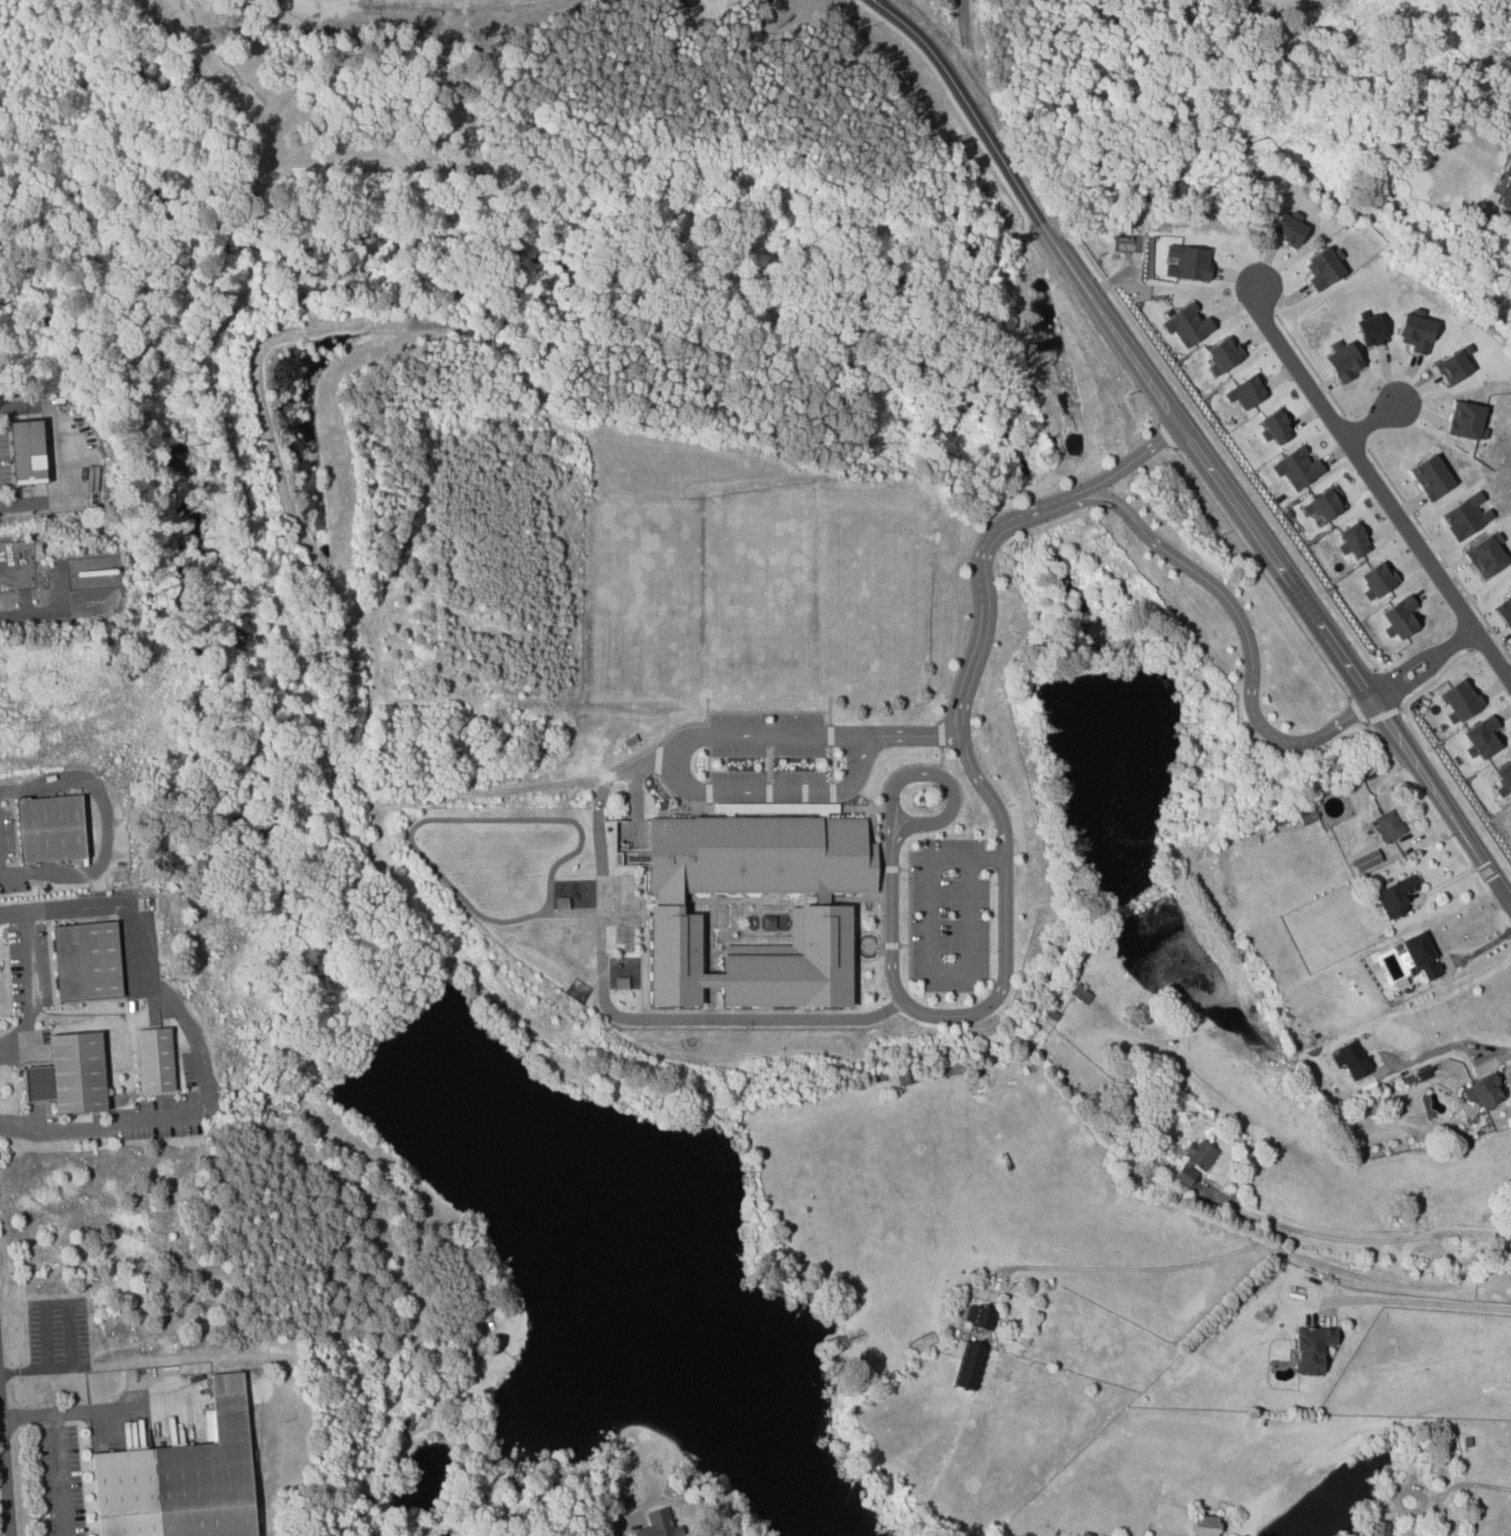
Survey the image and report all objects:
building: (1506, 193)
road: (1016, 204)
building: (1289, 227)
building: (1188, 262)
building: (1324, 267)
building: (1187, 324)
building: (1371, 330)
building: (1416, 331)
building: (1224, 354)
building: (1343, 360)
road: (1310, 363)
building: (1454, 364)
building: (1247, 391)
road: (1371, 419)
building: (1467, 420)
building: (1276, 426)
road: (1356, 428)
building: (17, 432)
road: (1166, 436)
building: (29, 450)
road: (1198, 450)
road: (1227, 452)
road: (64, 460)
road: (1127, 464)
building: (1297, 467)
building: (1431, 476)
road: (1377, 482)
building: (1325, 504)
building: (1466, 516)
road: (982, 528)
building: (1353, 540)
road: (1439, 550)
building: (1486, 555)
road: (1262, 572)
building: (1378, 579)
road: (982, 590)
building: (1510, 590)
road: (50, 609)
building: (1505, 611)
building: (1400, 617)
road: (1243, 629)
road: (1457, 633)
road: (1478, 638)
road: (1402, 665)
road: (1436, 678)
road: (1413, 679)
road: (1389, 688)
building: (1461, 700)
road: (1369, 719)
road: (940, 733)
road: (914, 735)
building: (1483, 737)
road: (1374, 738)
road: (941, 776)
building: (1504, 777)
road: (682, 785)
road: (1457, 788)
building: (37, 806)
building: (1389, 825)
road: (882, 826)
road: (109, 827)
building: (1366, 860)
road: (890, 869)
road: (904, 869)
building: (1396, 896)
building: (749, 907)
road: (910, 915)
building: (75, 938)
road: (905, 945)
road: (890, 946)
road: (931, 953)
building: (1421, 954)
road: (35, 987)
road: (999, 992)
road: (194, 1035)
building: (144, 1039)
road: (1445, 1048)
building: (58, 1052)
building: (156, 1059)
building: (1351, 1059)
building: (1487, 1090)
building: (1192, 1162)
road: (1378, 1240)
road: (1267, 1246)
road: (57, 1301)
road: (1420, 1302)
building: (979, 1316)
building: (1312, 1348)
building: (969, 1364)
road: (36, 1368)
road: (96, 1410)
road: (6, 1465)
road: (60, 1475)
building: (185, 1478)
road: (1458, 1486)
building: (620, 1505)
building: (657, 1524)
building: (1206, 1525)
building: (1380, 1528)
road: (617, 1529)
building: (1088, 1534)

